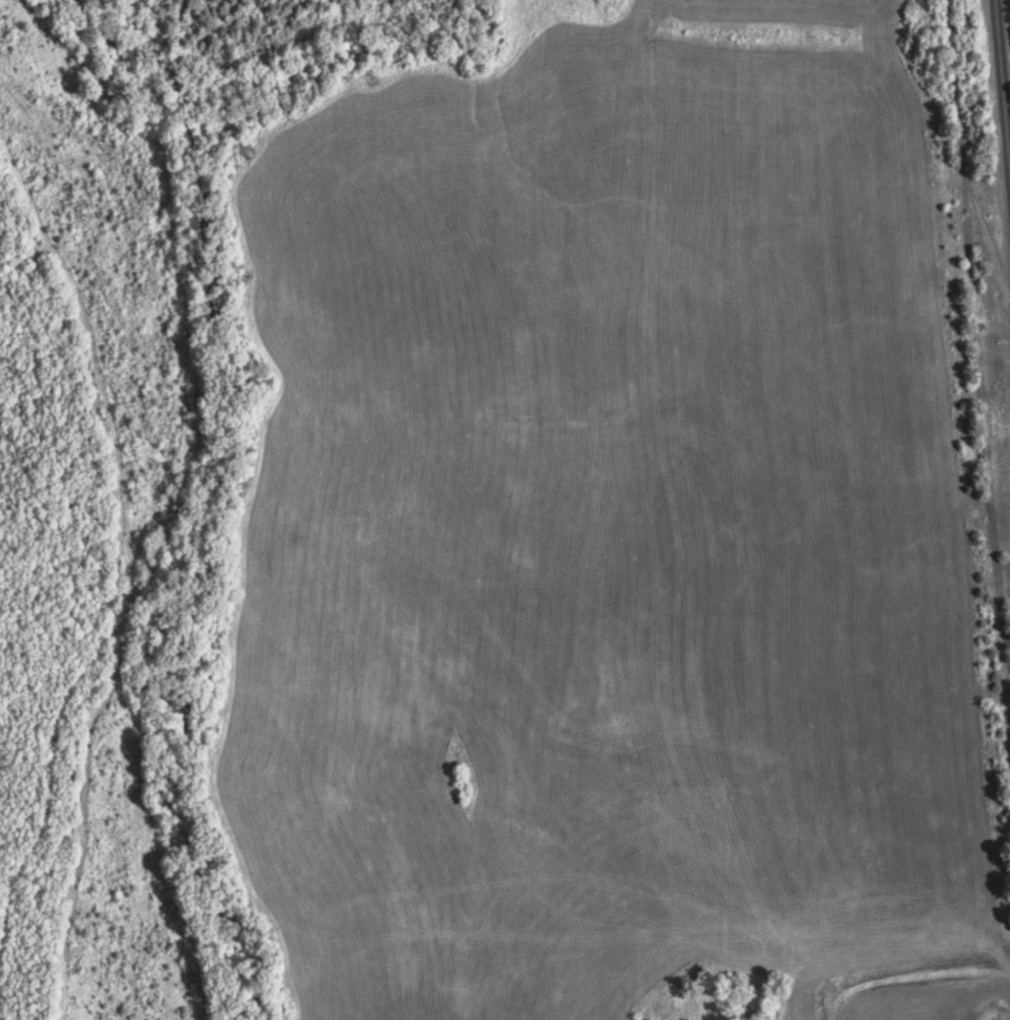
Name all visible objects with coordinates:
road: (1003, 71)
road: (909, 974)

